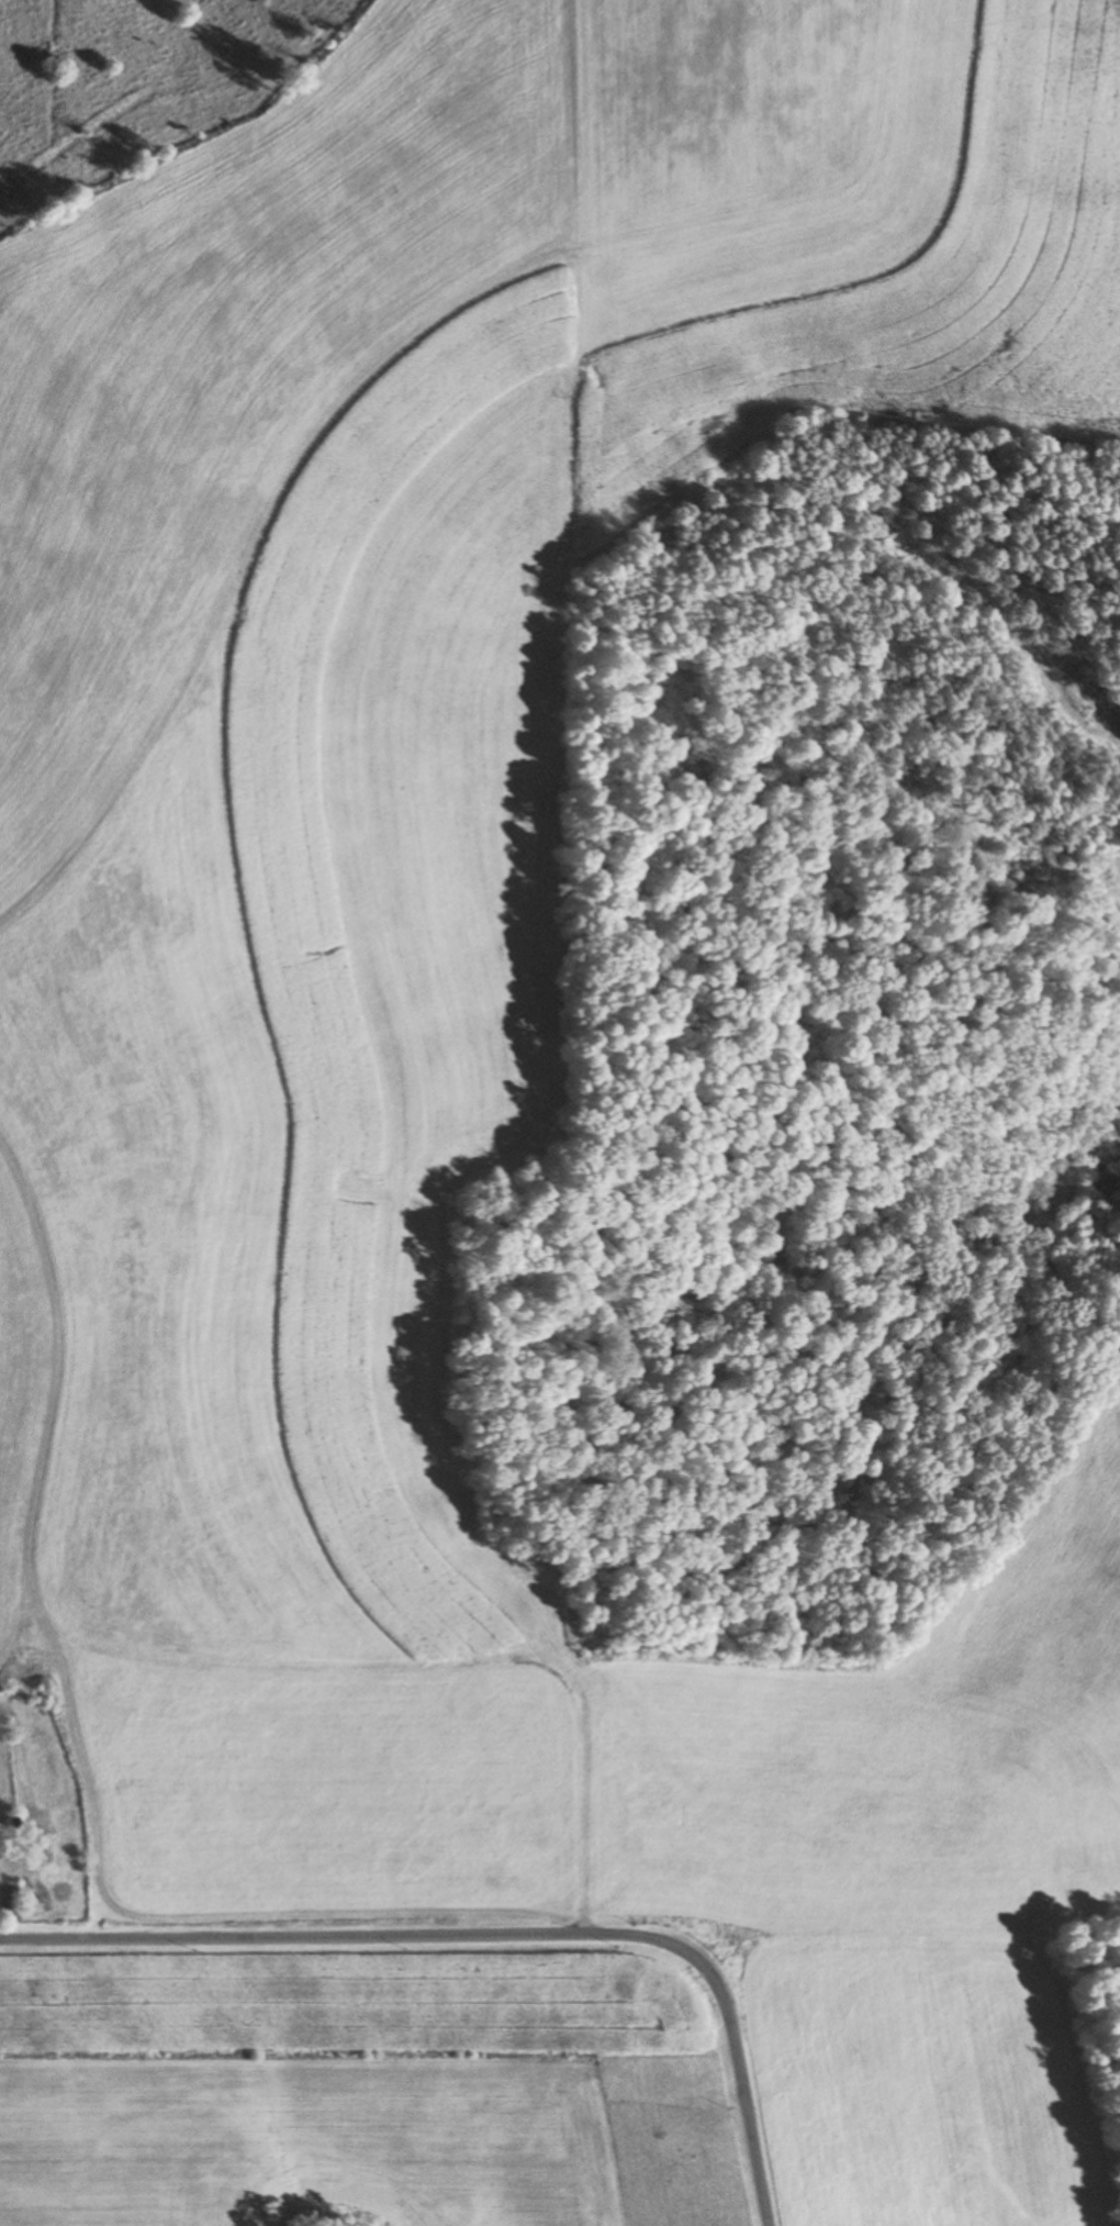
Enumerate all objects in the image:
crop: (229, 361)
crop: (19, 1385)
road: (489, 1930)
crop: (370, 2082)

